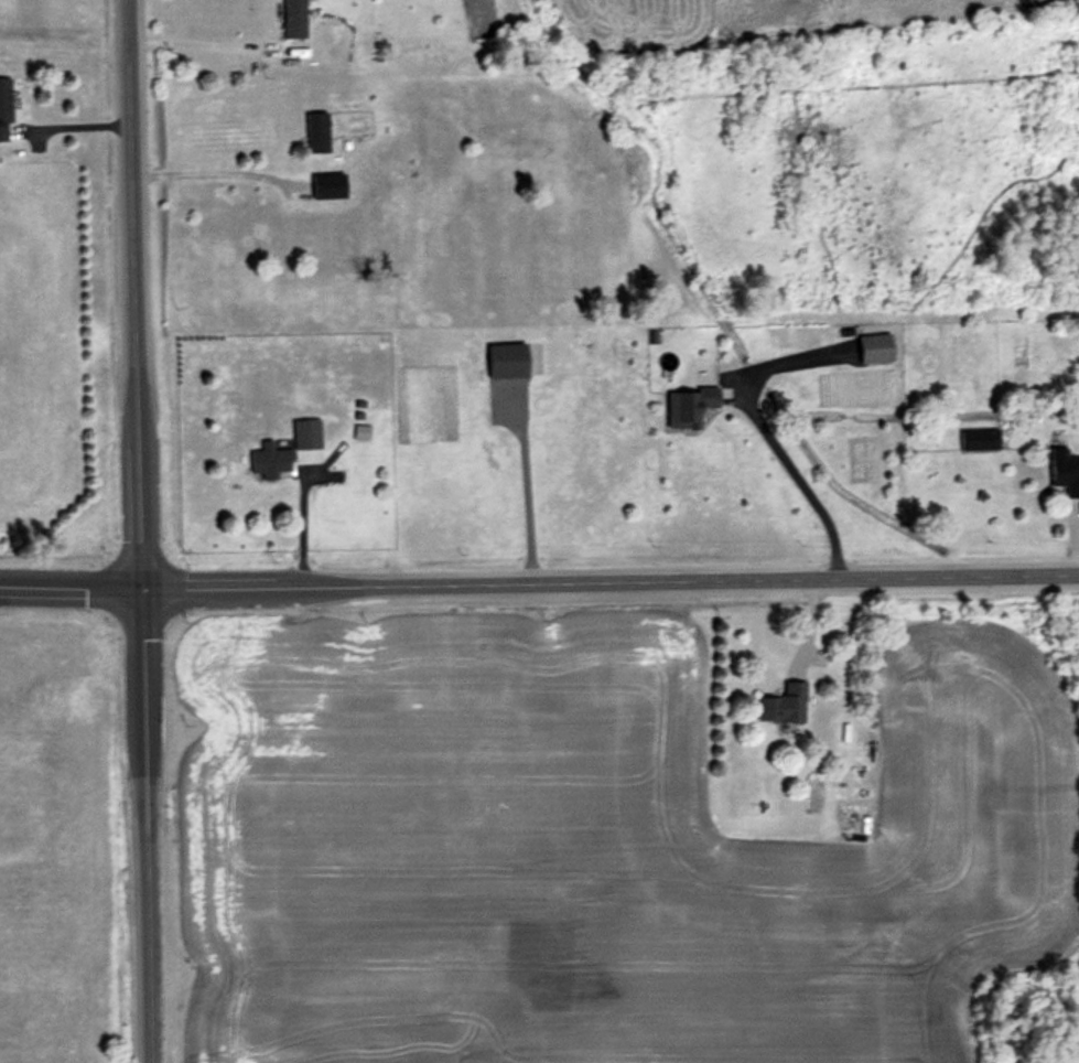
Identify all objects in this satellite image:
building: (296, 18)
building: (7, 107)
building: (319, 129)
road: (213, 169)
building: (330, 183)
building: (877, 346)
building: (510, 358)
building: (691, 404)
building: (980, 437)
building: (290, 448)
building: (1065, 469)
road: (795, 479)
road: (143, 530)
road: (539, 578)
building: (786, 701)

